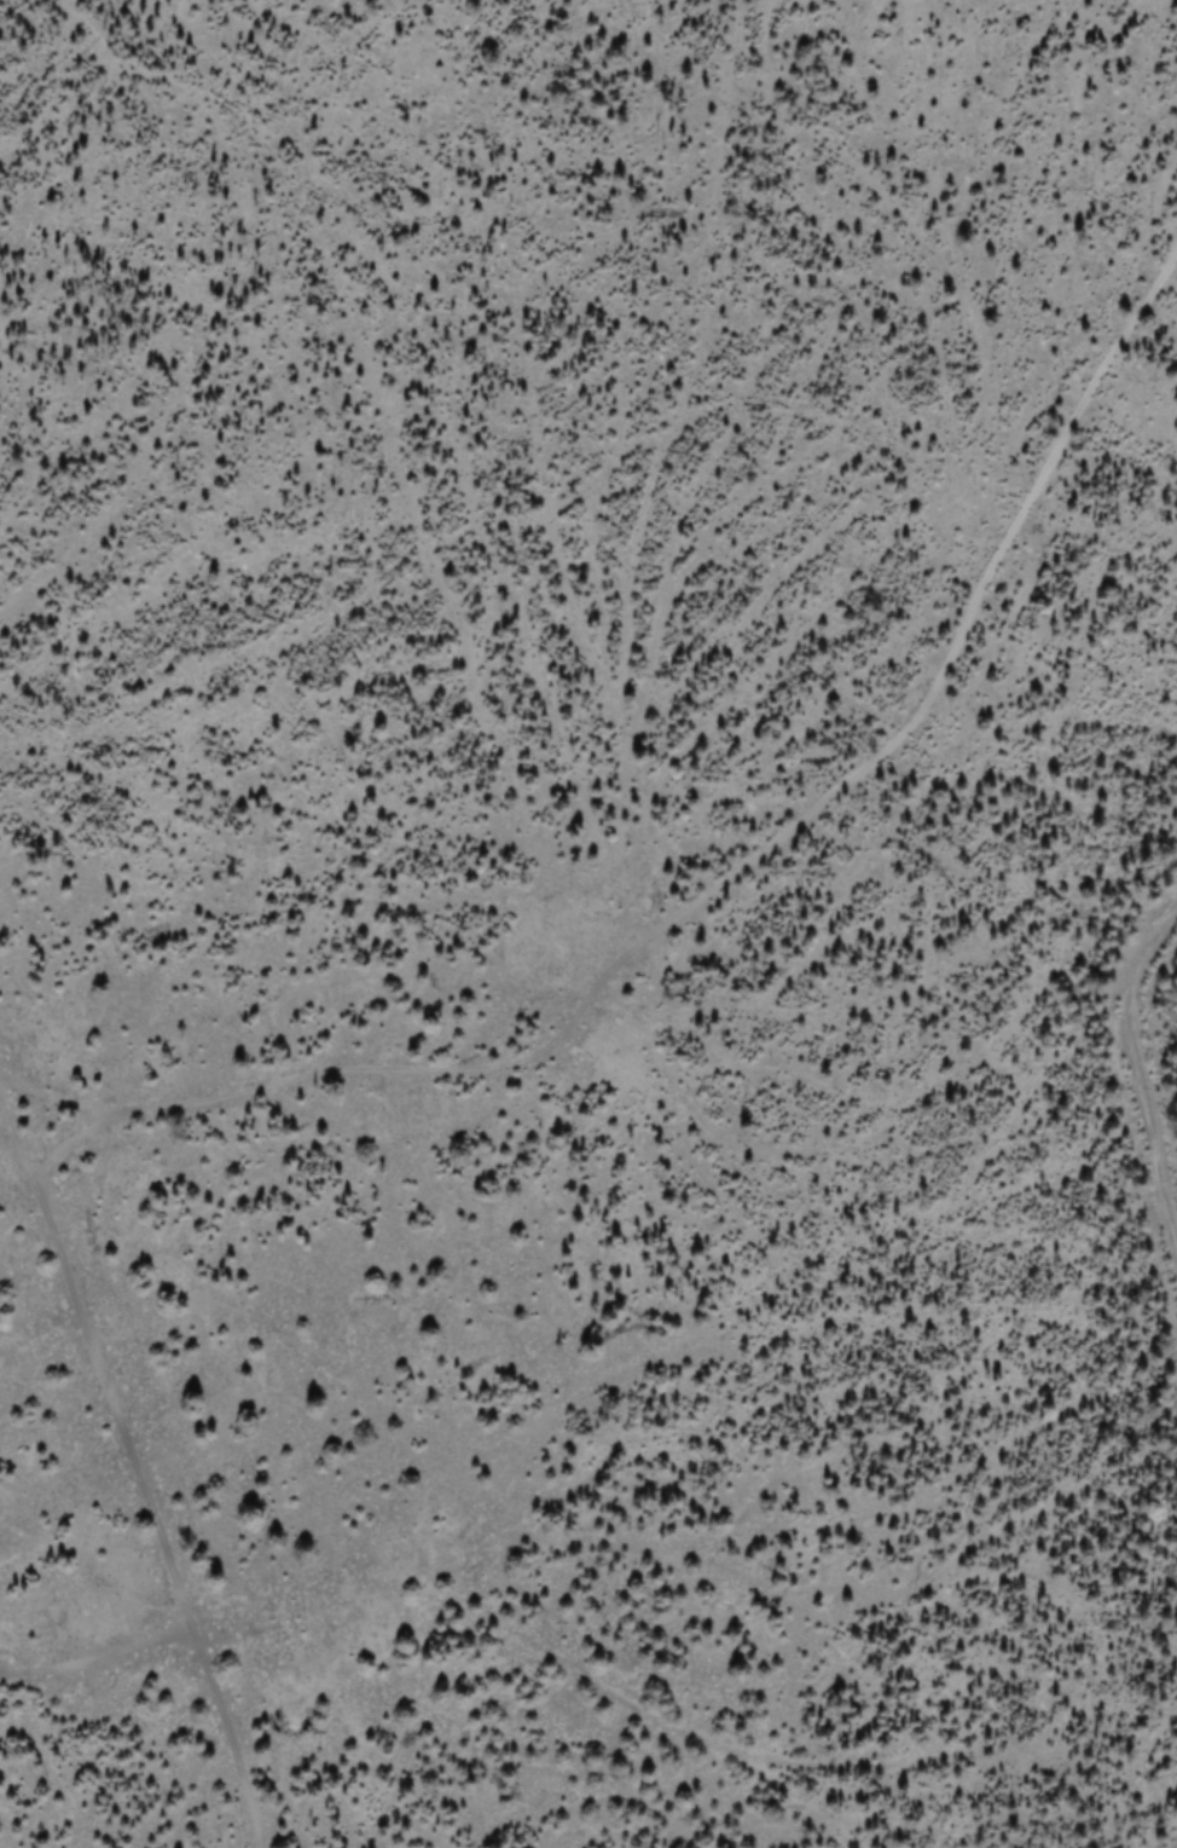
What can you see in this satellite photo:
road: (190, 1587)

